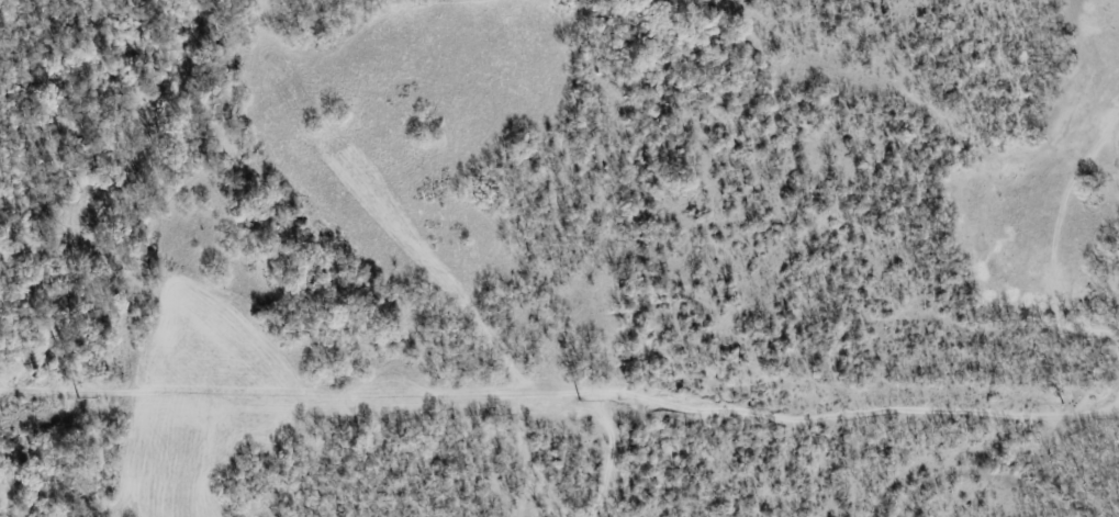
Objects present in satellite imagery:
power tower: (74, 400)
power tower: (577, 403)
power tower: (1061, 405)

